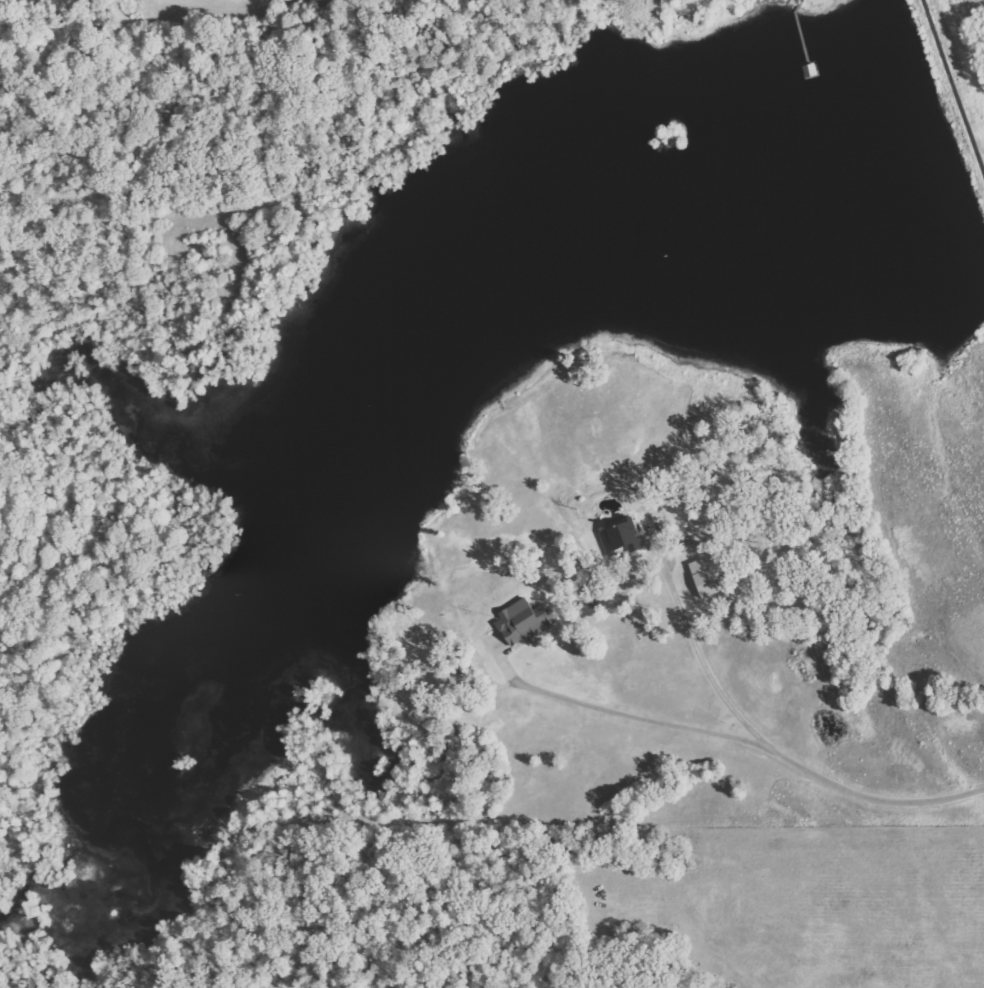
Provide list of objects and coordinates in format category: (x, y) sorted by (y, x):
road: (952, 89)
building: (622, 536)
building: (704, 577)
building: (524, 621)
road: (696, 647)
road: (733, 742)

